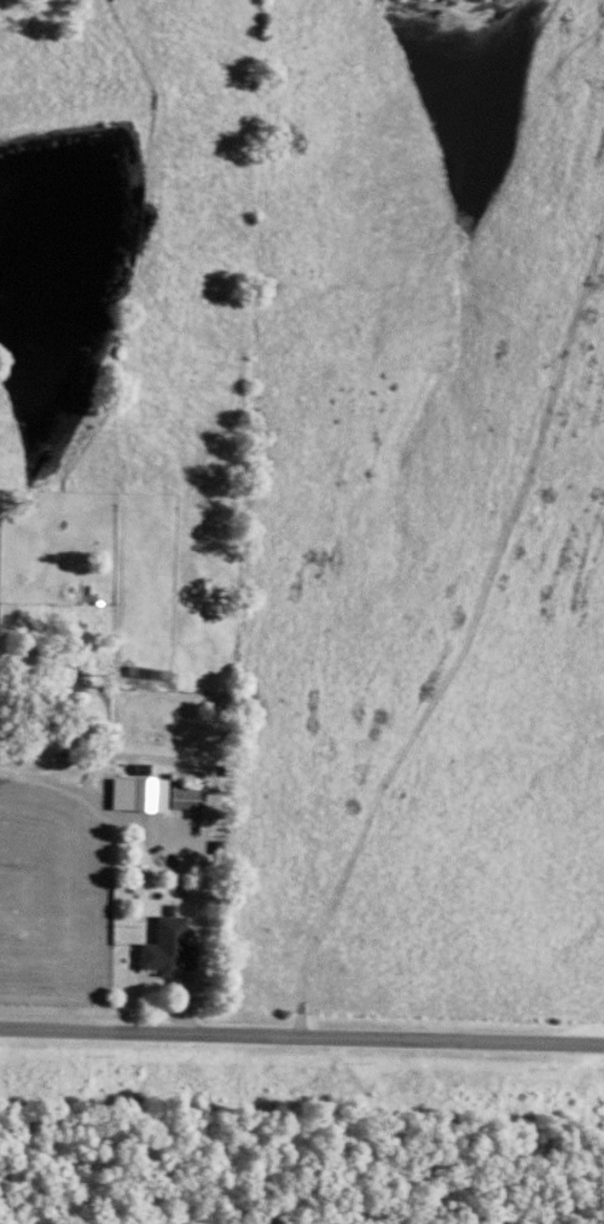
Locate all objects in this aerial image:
road: (205, 909)
building: (163, 944)
road: (301, 1033)

